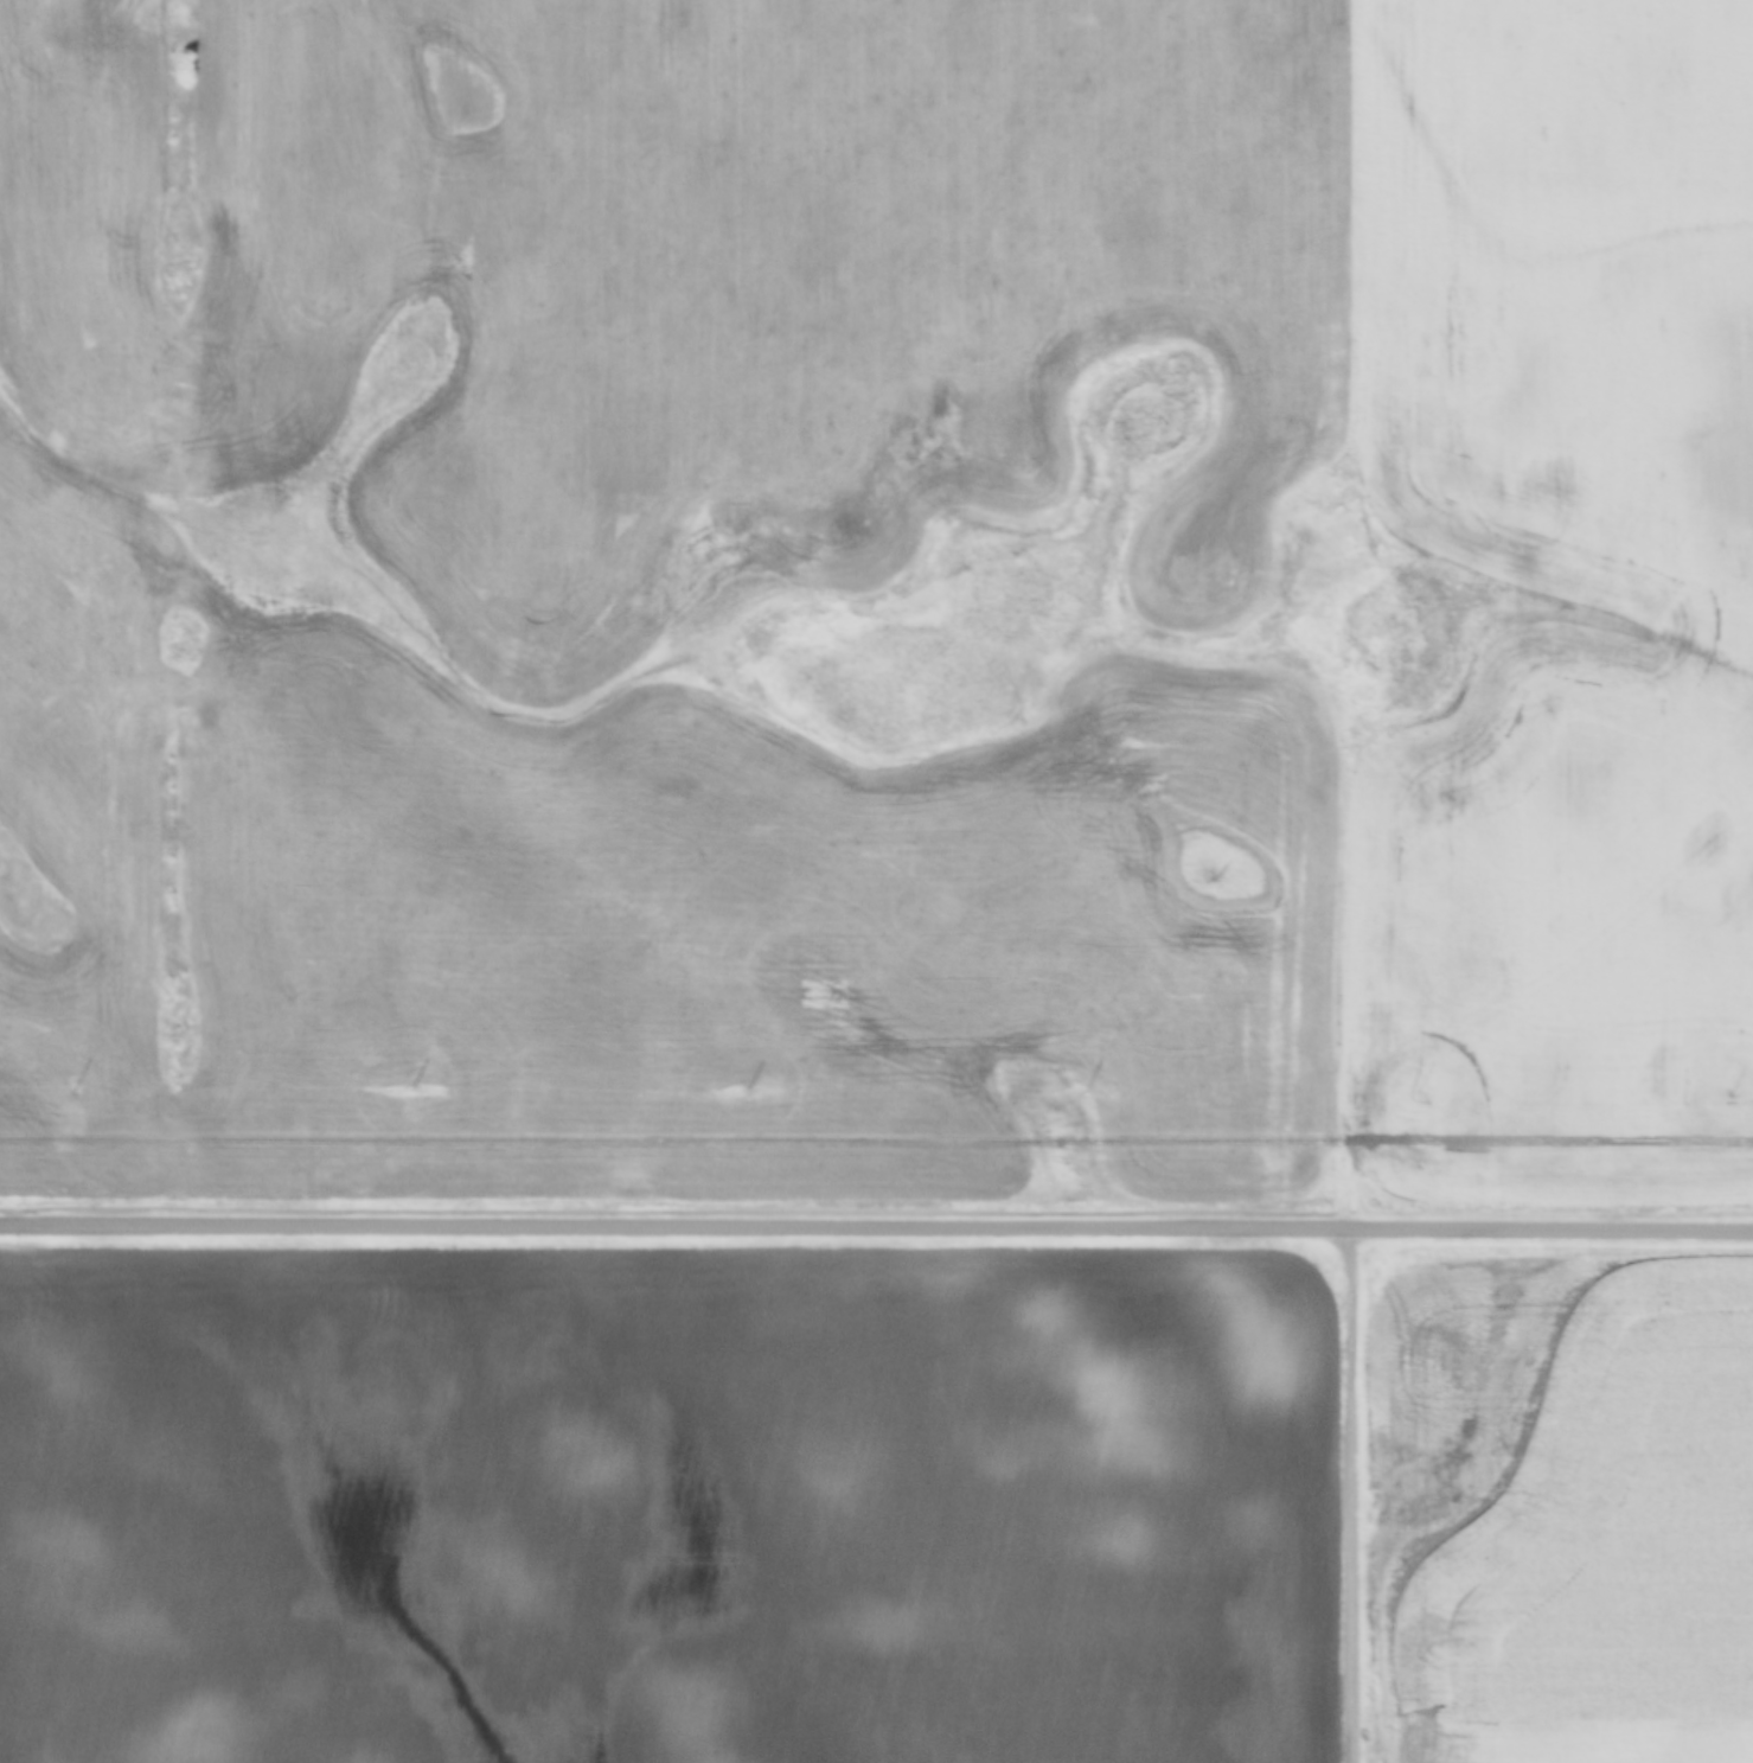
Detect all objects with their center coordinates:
road: (876, 1233)
road: (1349, 1499)

